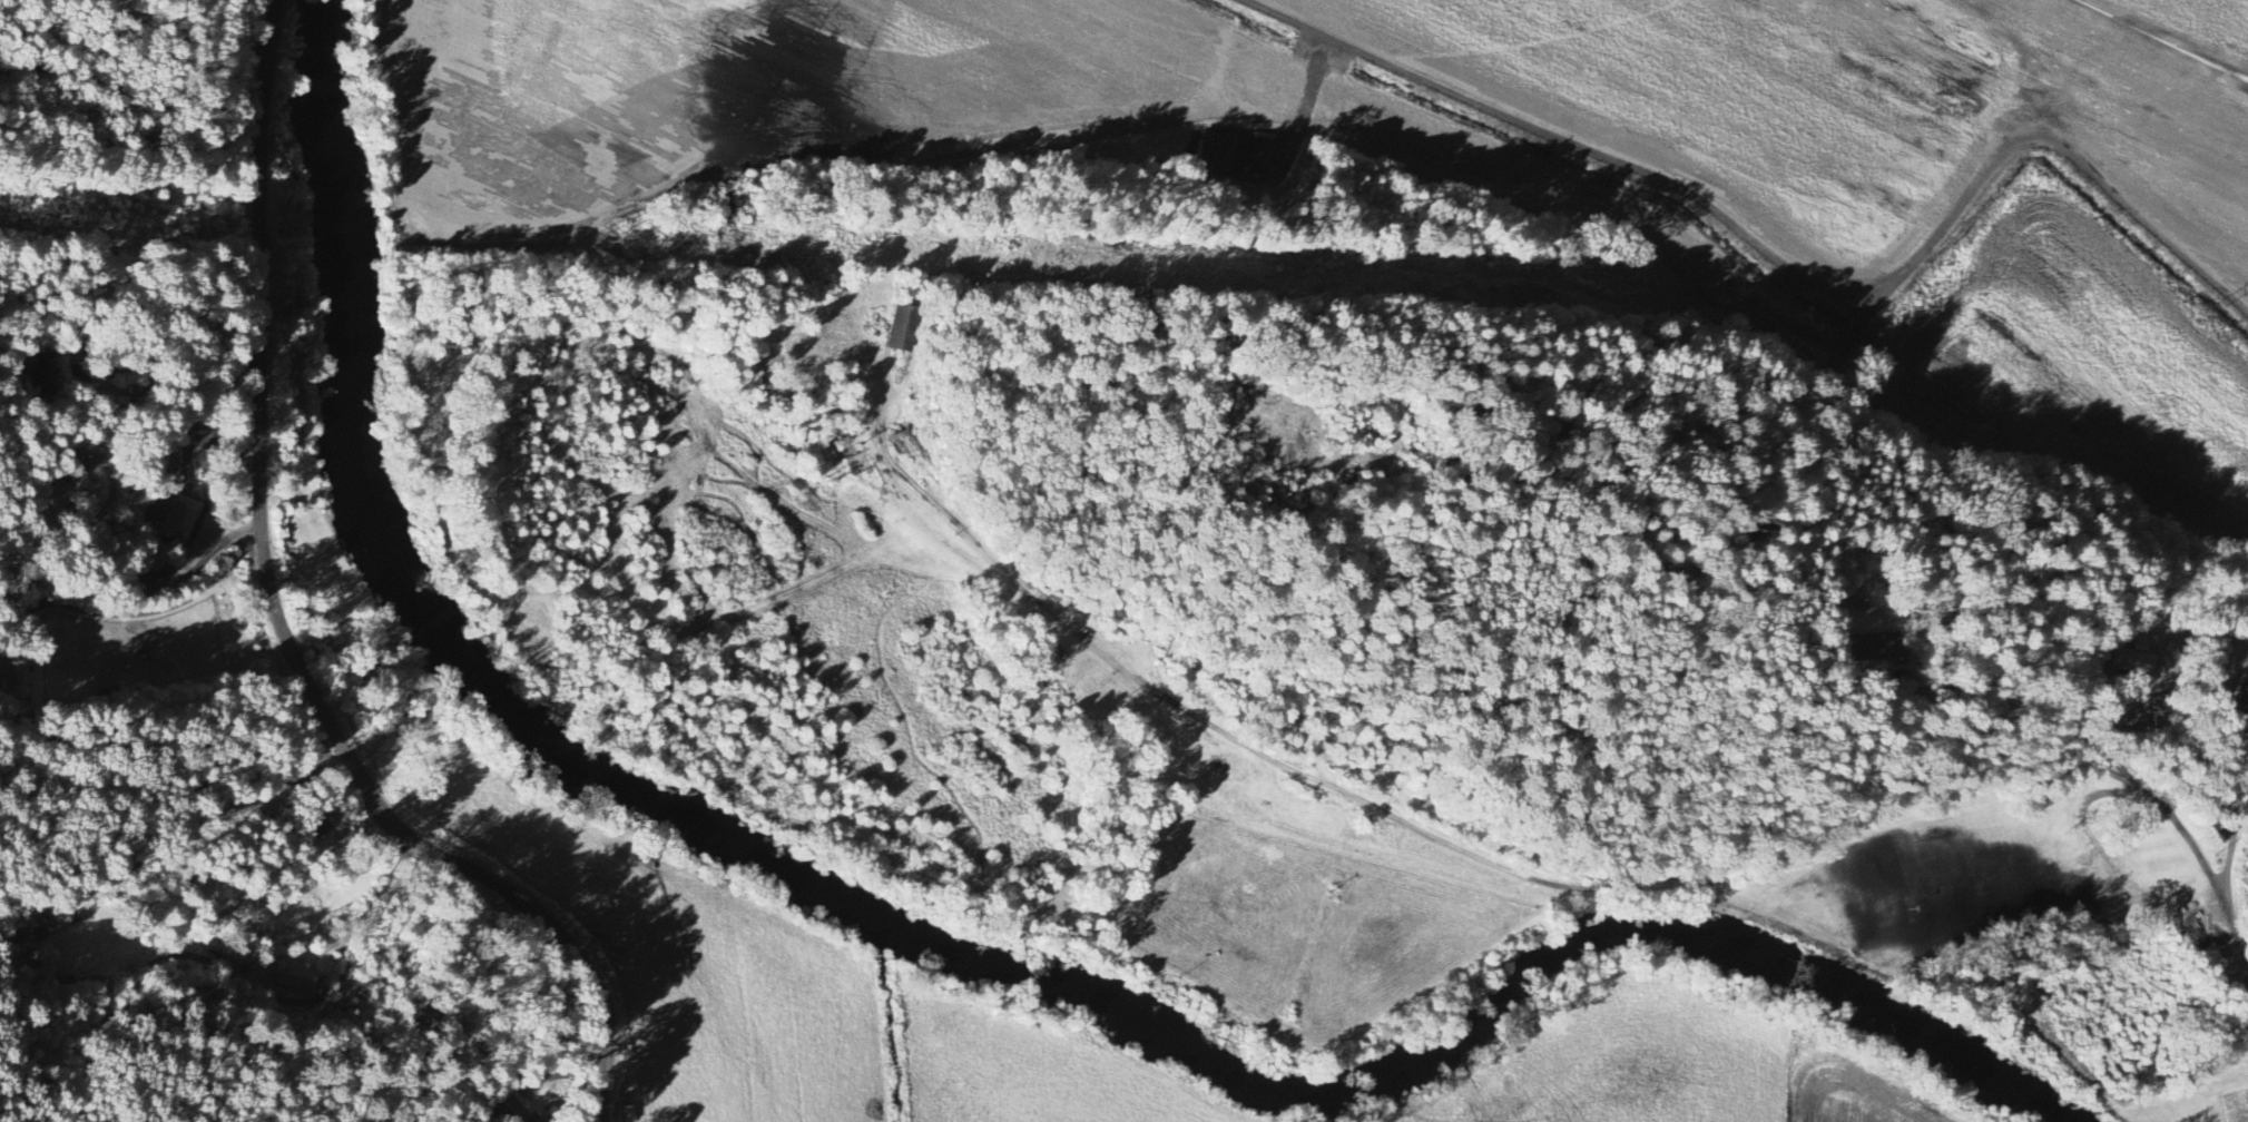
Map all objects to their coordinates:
road: (161, 148)
power tower: (222, 220)
power tower: (624, 242)
power tower: (1161, 264)
road: (1781, 264)
building: (114, 268)
road: (177, 284)
road: (91, 286)
power tower: (1669, 296)
power tower: (1915, 306)
power tower: (2182, 319)
building: (903, 329)
building: (179, 519)
road: (86, 528)
road: (136, 613)
road: (1930, 620)
road: (283, 629)
road: (2072, 643)
building: (1881, 648)
road: (30, 659)
road: (235, 783)
road: (2234, 840)
road: (1573, 886)
road: (374, 902)
river: (936, 947)
building: (295, 978)
building: (629, 1114)
road: (603, 1116)

